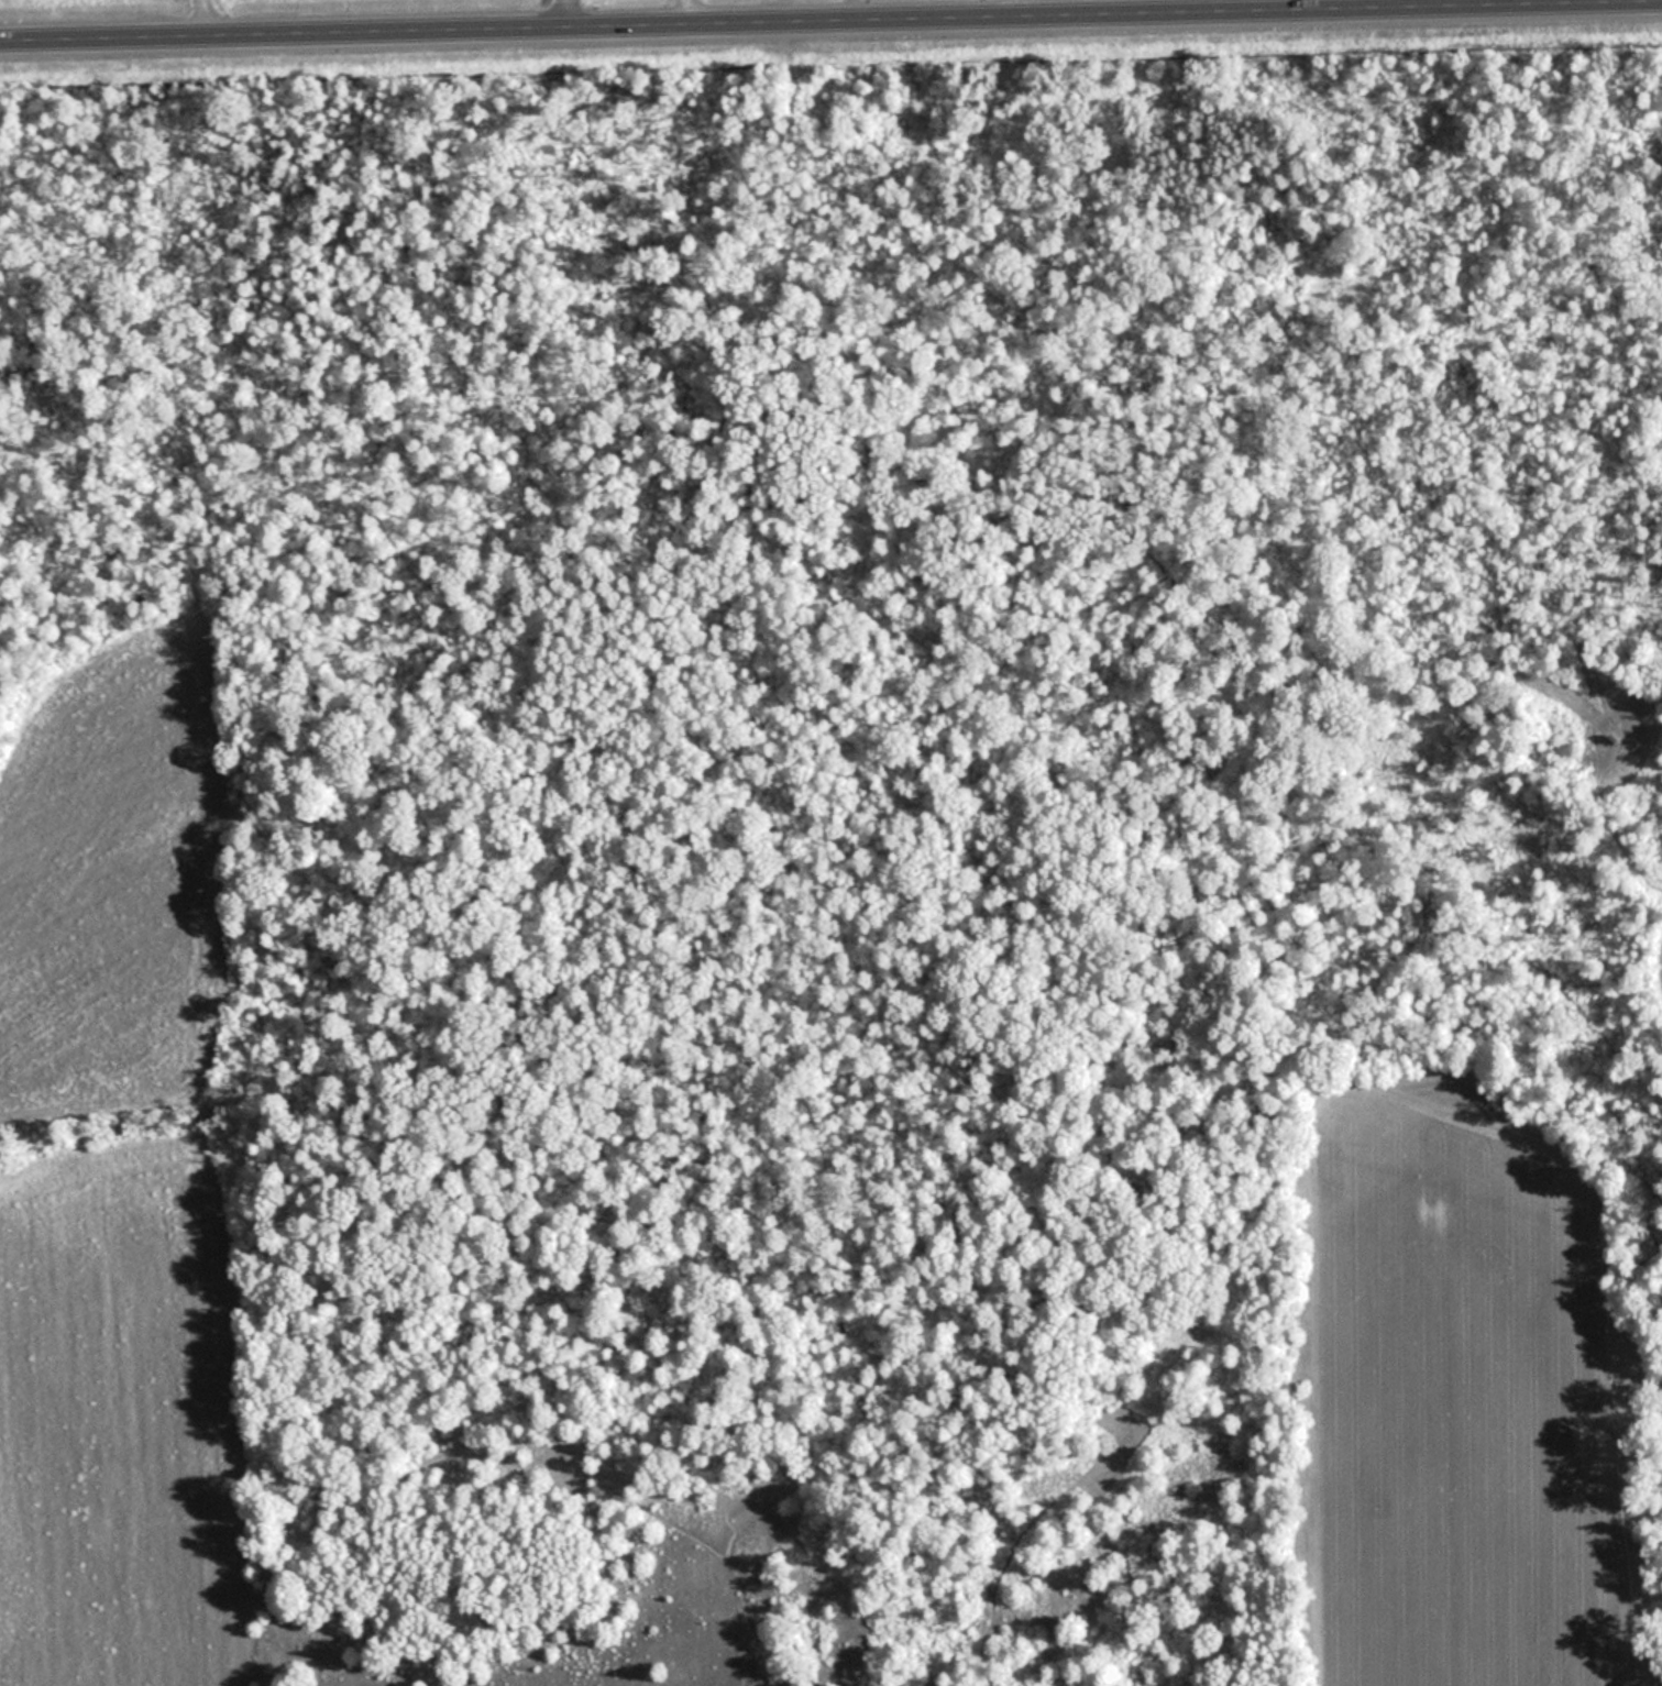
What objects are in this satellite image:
road: (1020, 7)
road: (844, 9)
road: (682, 10)
road: (563, 12)
road: (202, 15)
road: (782, 19)

